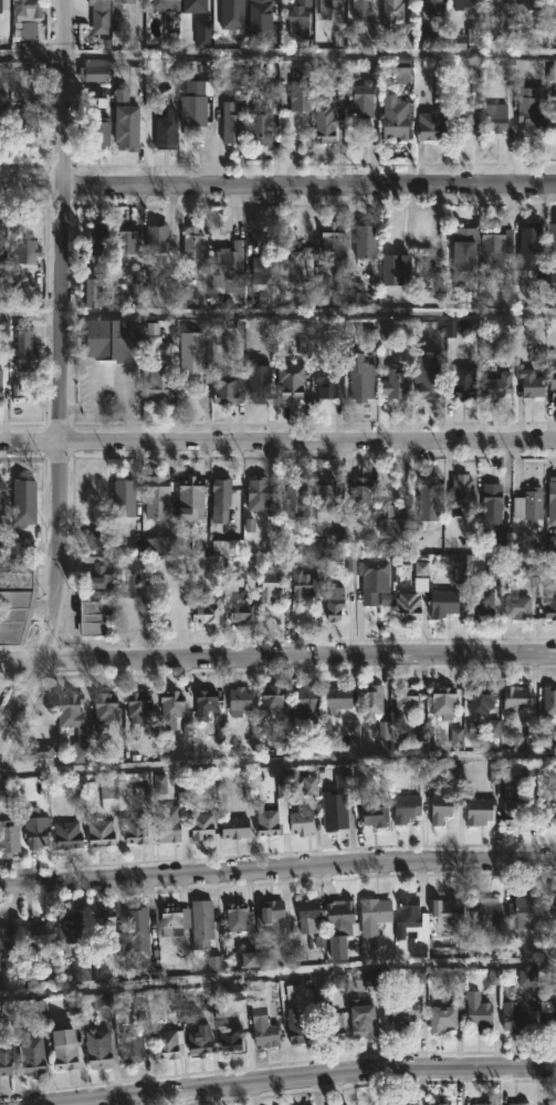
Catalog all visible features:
building: (123, 1)
building: (461, 3)
building: (165, 4)
building: (496, 4)
building: (532, 4)
building: (1, 6)
building: (227, 6)
building: (329, 7)
building: (434, 7)
building: (359, 10)
building: (553, 10)
building: (390, 12)
building: (99, 13)
building: (27, 18)
building: (258, 22)
building: (297, 22)
building: (221, 30)
road: (277, 54)
building: (93, 70)
building: (552, 72)
building: (300, 90)
building: (361, 97)
building: (192, 106)
building: (528, 113)
building: (495, 116)
building: (298, 117)
building: (3, 119)
building: (462, 119)
building: (394, 121)
building: (231, 123)
building: (324, 124)
building: (552, 124)
building: (126, 126)
building: (259, 126)
building: (429, 126)
building: (0, 127)
building: (23, 129)
building: (165, 131)
building: (98, 133)
road: (277, 187)
building: (1, 236)
building: (96, 236)
building: (156, 238)
building: (332, 238)
building: (364, 240)
building: (531, 240)
building: (124, 241)
building: (191, 243)
building: (553, 243)
building: (495, 248)
building: (21, 250)
building: (291, 257)
building: (461, 257)
building: (227, 258)
building: (261, 268)
building: (395, 269)
building: (434, 274)
building: (319, 282)
building: (95, 291)
building: (354, 293)
road: (310, 314)
road: (31, 316)
building: (116, 338)
building: (24, 347)
building: (190, 350)
building: (259, 356)
building: (427, 372)
building: (553, 377)
building: (325, 381)
building: (529, 381)
building: (290, 382)
building: (363, 382)
building: (462, 382)
road: (61, 384)
building: (394, 384)
building: (499, 385)
building: (1, 387)
building: (159, 387)
building: (227, 389)
road: (277, 441)
building: (361, 492)
building: (461, 493)
building: (258, 496)
building: (155, 497)
building: (427, 497)
building: (123, 498)
building: (220, 498)
building: (293, 498)
building: (323, 498)
building: (189, 499)
building: (2, 501)
building: (22, 501)
building: (552, 501)
building: (528, 503)
building: (491, 509)
building: (390, 521)
building: (98, 544)
building: (23, 546)
building: (99, 572)
building: (371, 573)
building: (133, 581)
building: (269, 584)
building: (305, 584)
building: (15, 598)
building: (334, 602)
building: (442, 602)
building: (549, 602)
building: (482, 604)
building: (407, 605)
building: (516, 606)
building: (204, 611)
building: (241, 611)
building: (94, 617)
road: (277, 655)
building: (515, 697)
building: (336, 698)
building: (270, 699)
building: (405, 699)
building: (238, 700)
building: (370, 700)
building: (481, 700)
building: (547, 700)
building: (442, 702)
building: (204, 703)
building: (307, 703)
building: (137, 706)
building: (67, 707)
building: (102, 708)
building: (170, 708)
building: (417, 741)
road: (277, 772)
building: (101, 795)
building: (513, 804)
building: (547, 806)
building: (406, 807)
building: (441, 807)
building: (373, 811)
building: (478, 811)
building: (271, 813)
building: (334, 820)
building: (300, 822)
building: (167, 823)
building: (199, 824)
building: (234, 826)
building: (34, 827)
building: (134, 828)
building: (98, 832)
building: (65, 834)
building: (9, 837)
road: (277, 866)
building: (271, 909)
building: (550, 909)
building: (483, 910)
building: (447, 911)
building: (306, 913)
building: (373, 915)
building: (521, 915)
building: (235, 917)
building: (170, 920)
building: (102, 924)
building: (201, 924)
building: (338, 926)
building: (410, 926)
building: (67, 930)
building: (38, 932)
building: (137, 938)
building: (10, 939)
building: (80, 970)
road: (277, 972)
building: (369, 981)
building: (235, 992)
building: (476, 1011)
building: (401, 1012)
building: (548, 1012)
building: (440, 1018)
building: (361, 1019)
building: (327, 1020)
building: (513, 1020)
building: (262, 1025)
building: (295, 1028)
building: (229, 1038)
building: (199, 1041)
building: (167, 1043)
building: (130, 1046)
building: (63, 1049)
building: (94, 1049)
building: (31, 1054)
building: (6, 1059)
road: (319, 1074)
building: (400, 1103)
building: (441, 1103)
building: (486, 1103)
building: (483, 1104)
building: (524, 1104)

